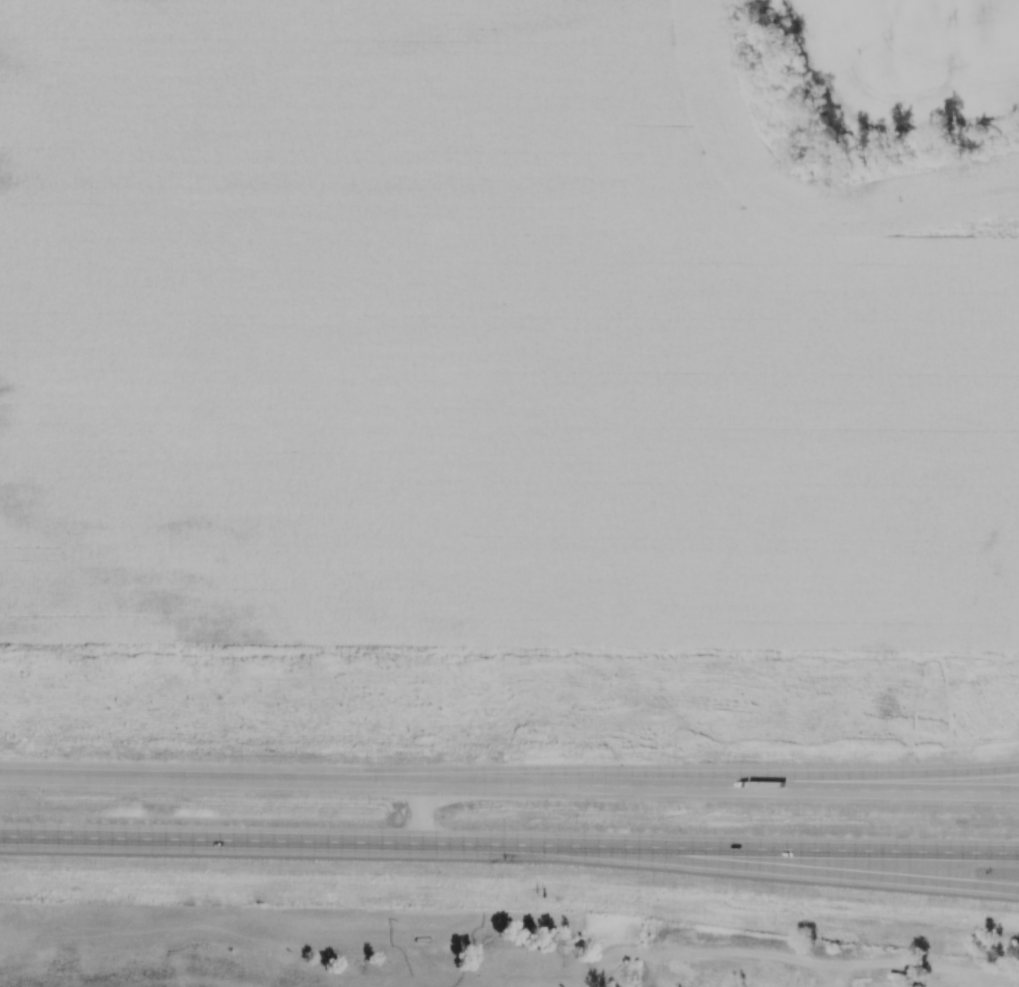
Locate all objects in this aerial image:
road: (763, 777)
road: (509, 784)
road: (422, 812)
road: (509, 842)
road: (768, 865)
road: (995, 979)

